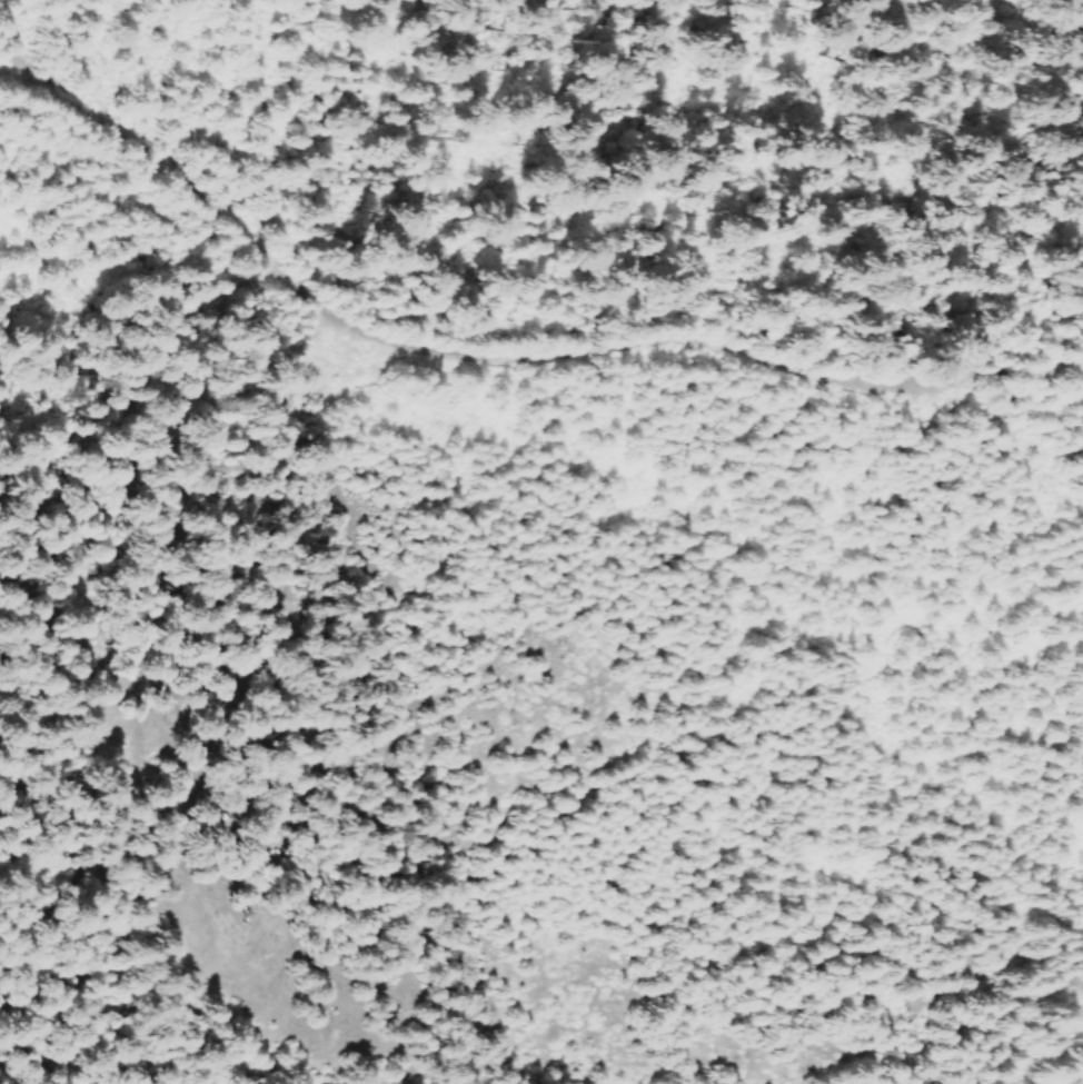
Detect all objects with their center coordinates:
road: (565, 351)

